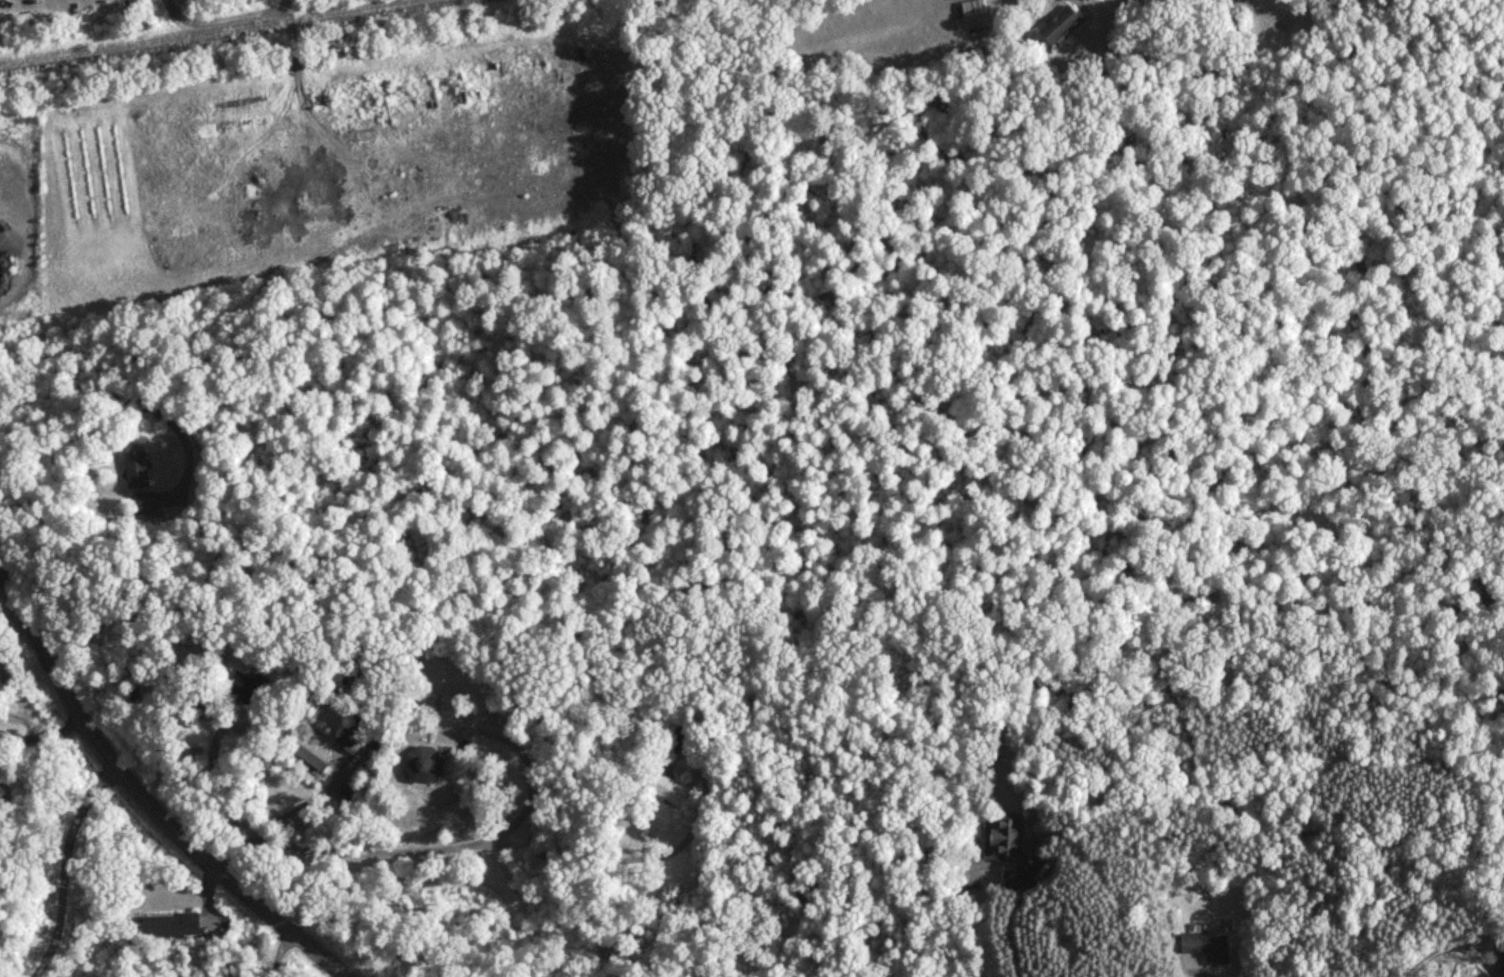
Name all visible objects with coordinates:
building: (20, 23)
building: (1057, 25)
road: (131, 400)
building: (135, 470)
building: (143, 502)
building: (243, 688)
building: (198, 705)
road: (42, 734)
building: (351, 736)
building: (675, 741)
building: (309, 750)
building: (421, 766)
road: (217, 782)
building: (665, 789)
building: (4, 797)
road: (142, 798)
road: (299, 805)
building: (1007, 836)
road: (450, 845)
road: (234, 851)
road: (78, 874)
building: (169, 926)
building: (1205, 946)
road: (279, 951)

